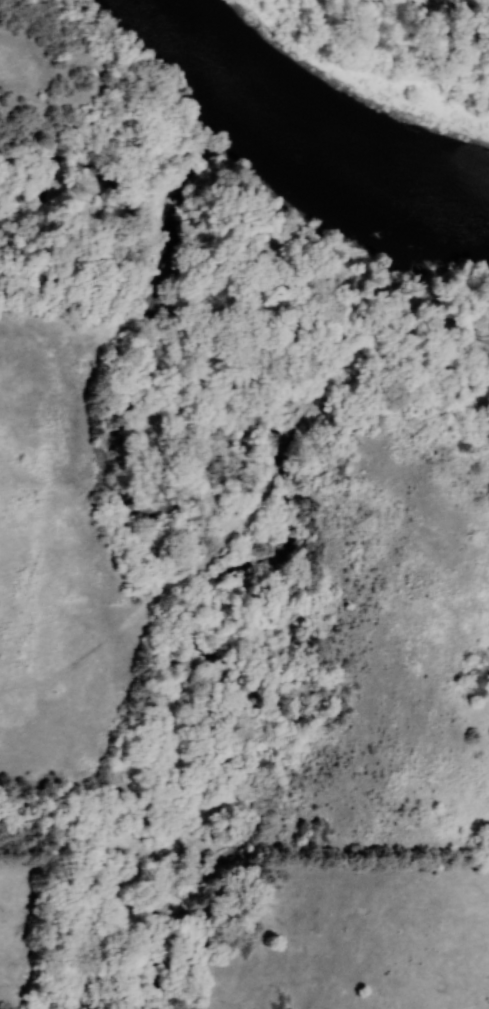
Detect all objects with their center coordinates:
river: (316, 115)

